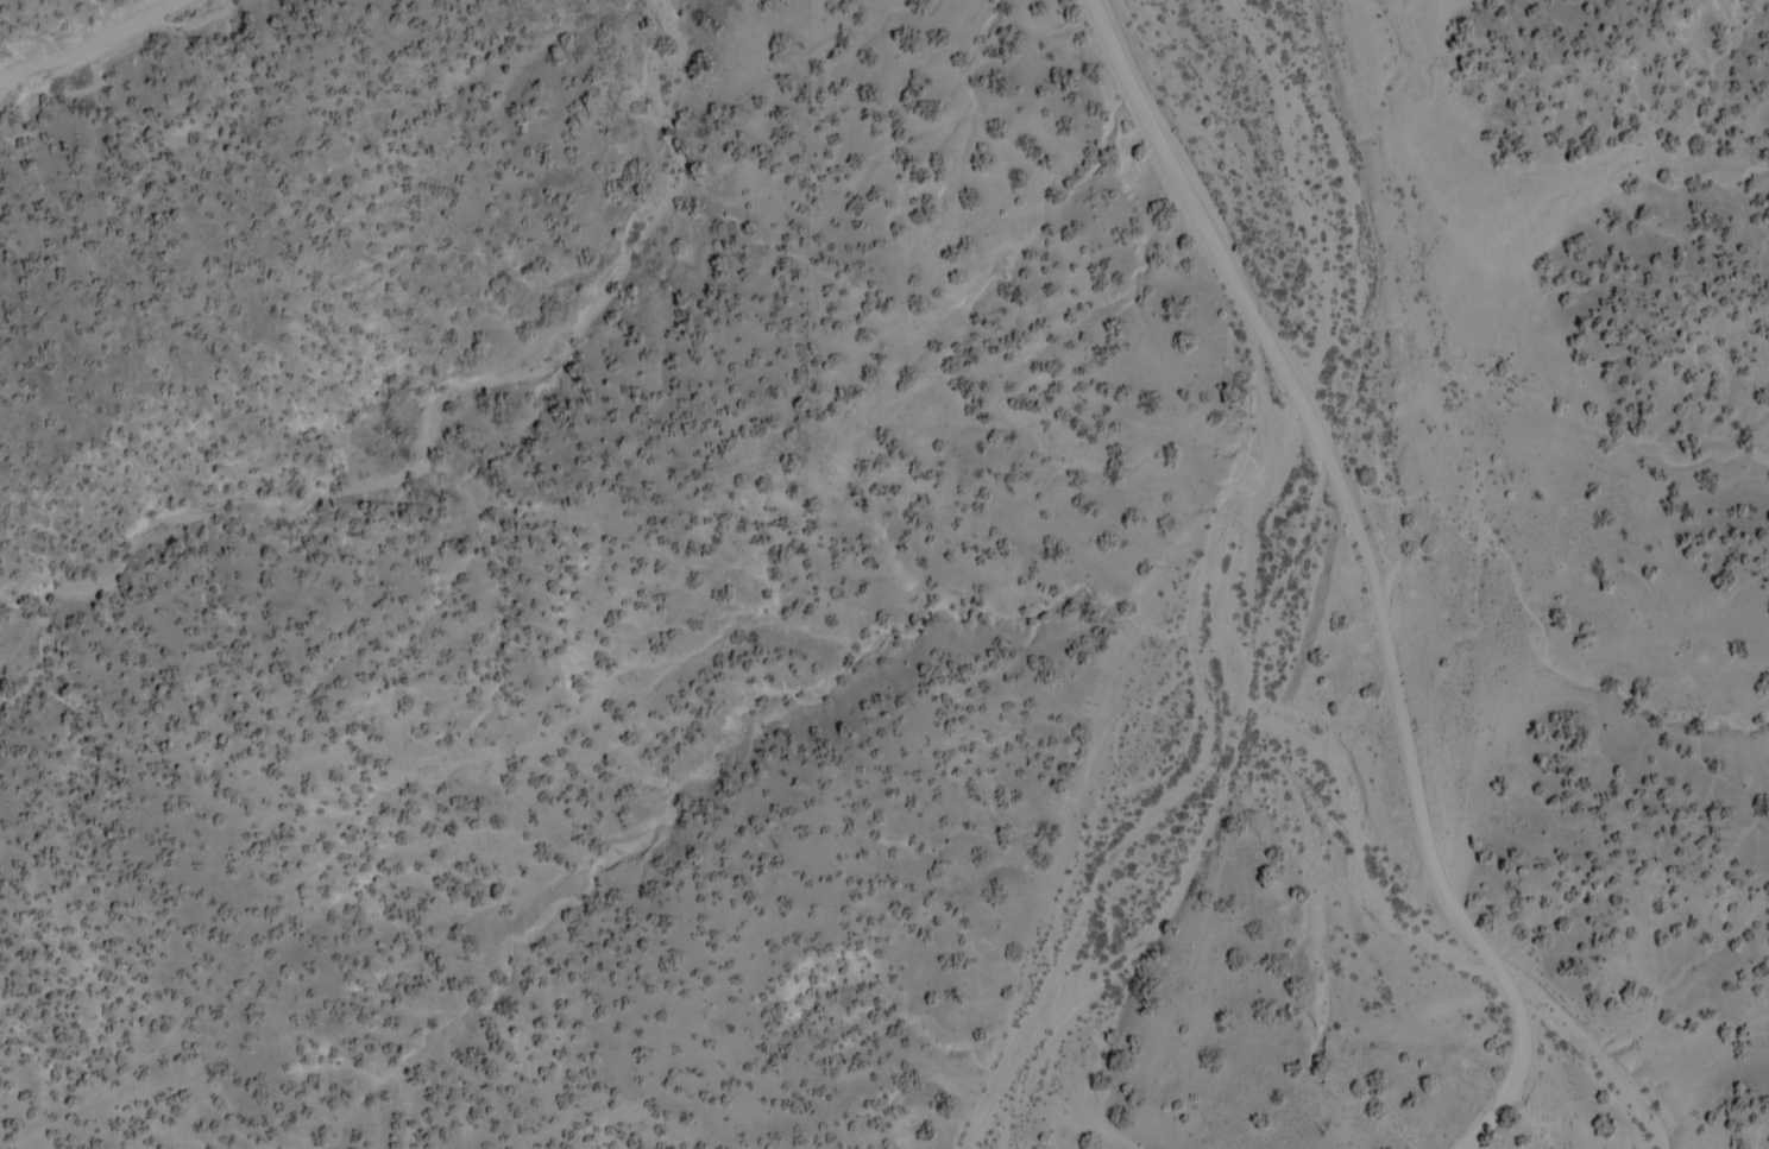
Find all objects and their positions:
road: (84, 42)
road: (1378, 569)

